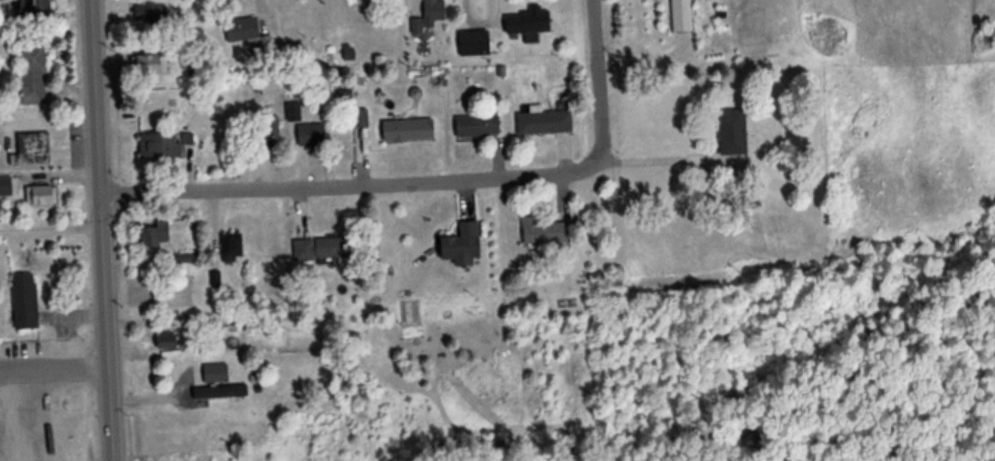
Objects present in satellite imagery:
building: (34, 9)
building: (151, 13)
building: (683, 15)
building: (431, 17)
building: (529, 22)
building: (243, 29)
building: (476, 44)
building: (342, 55)
building: (150, 64)
building: (34, 74)
road: (593, 80)
building: (362, 119)
building: (546, 122)
building: (478, 126)
building: (409, 130)
building: (734, 131)
building: (271, 132)
building: (312, 134)
building: (161, 146)
building: (34, 149)
road: (352, 184)
building: (42, 196)
road: (106, 230)
building: (547, 232)
building: (156, 235)
building: (464, 245)
building: (233, 248)
building: (335, 248)
building: (189, 259)
building: (26, 301)
building: (168, 341)
building: (217, 381)

